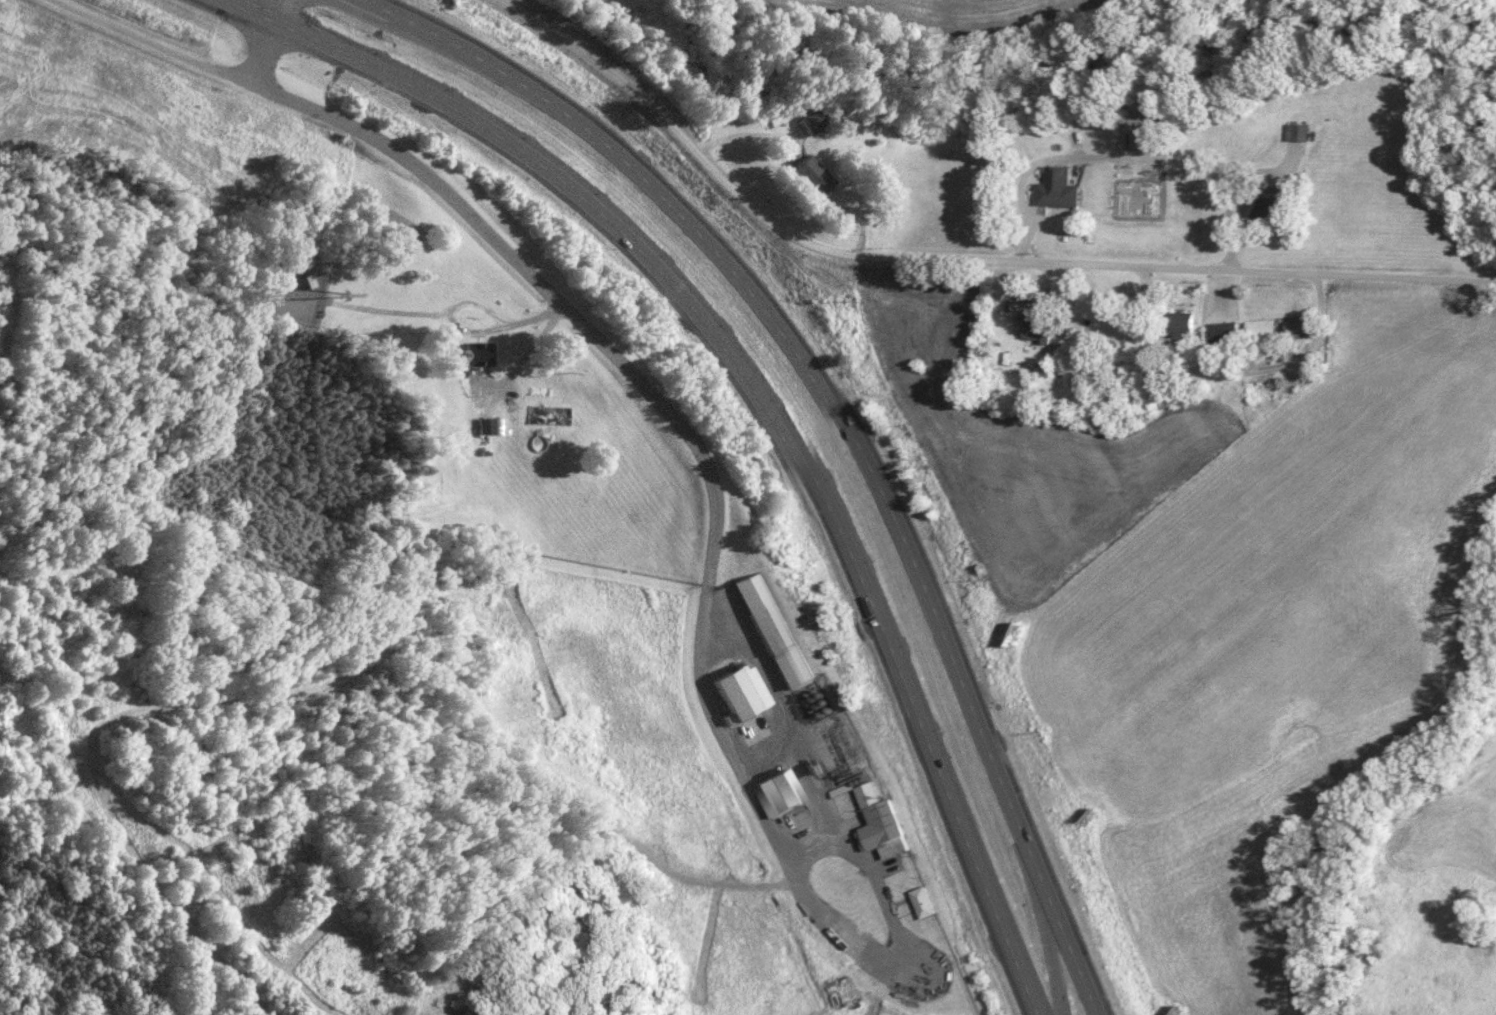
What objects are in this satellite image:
road: (271, 42)
building: (806, 120)
building: (1291, 134)
building: (1139, 140)
road: (1032, 171)
building: (806, 177)
building: (1053, 190)
road: (1235, 197)
building: (1261, 208)
road: (953, 263)
road: (568, 311)
building: (1177, 326)
building: (1295, 329)
building: (1033, 333)
building: (1256, 333)
building: (1217, 335)
building: (472, 355)
road: (529, 357)
road: (1304, 360)
road: (758, 393)
building: (543, 416)
road: (841, 420)
building: (484, 427)
building: (770, 633)
building: (738, 693)
building: (775, 794)
building: (876, 825)
building: (919, 905)
road: (897, 945)

